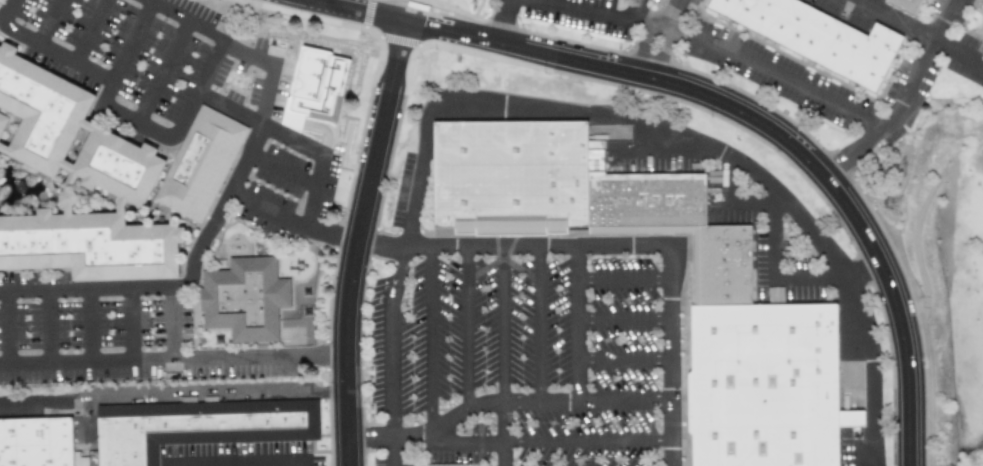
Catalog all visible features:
road: (150, 1)
building: (468, 1)
road: (324, 2)
building: (912, 4)
road: (584, 9)
road: (637, 9)
road: (670, 13)
road: (650, 19)
road: (504, 21)
road: (48, 22)
road: (89, 30)
road: (919, 31)
building: (820, 36)
road: (643, 43)
road: (44, 47)
road: (664, 51)
road: (125, 54)
road: (266, 68)
road: (774, 72)
road: (163, 74)
building: (315, 87)
road: (195, 91)
road: (901, 97)
road: (728, 101)
building: (34, 117)
road: (688, 139)
road: (290, 140)
building: (202, 166)
road: (281, 169)
building: (114, 172)
building: (509, 172)
building: (646, 198)
road: (725, 205)
road: (289, 220)
road: (355, 241)
road: (515, 245)
building: (28, 252)
building: (124, 259)
building: (724, 264)
road: (863, 268)
road: (773, 274)
road: (626, 279)
road: (180, 285)
building: (244, 297)
road: (627, 317)
road: (171, 322)
road: (502, 322)
road: (540, 322)
road: (578, 322)
road: (129, 324)
road: (86, 326)
road: (48, 327)
road: (466, 327)
road: (3, 329)
road: (393, 341)
road: (430, 343)
road: (675, 354)
road: (626, 358)
road: (174, 359)
building: (764, 385)
road: (174, 396)
road: (546, 400)
building: (192, 426)
road: (503, 433)
road: (427, 440)
building: (35, 442)
road: (589, 442)
road: (394, 453)
road: (234, 464)
building: (445, 465)

